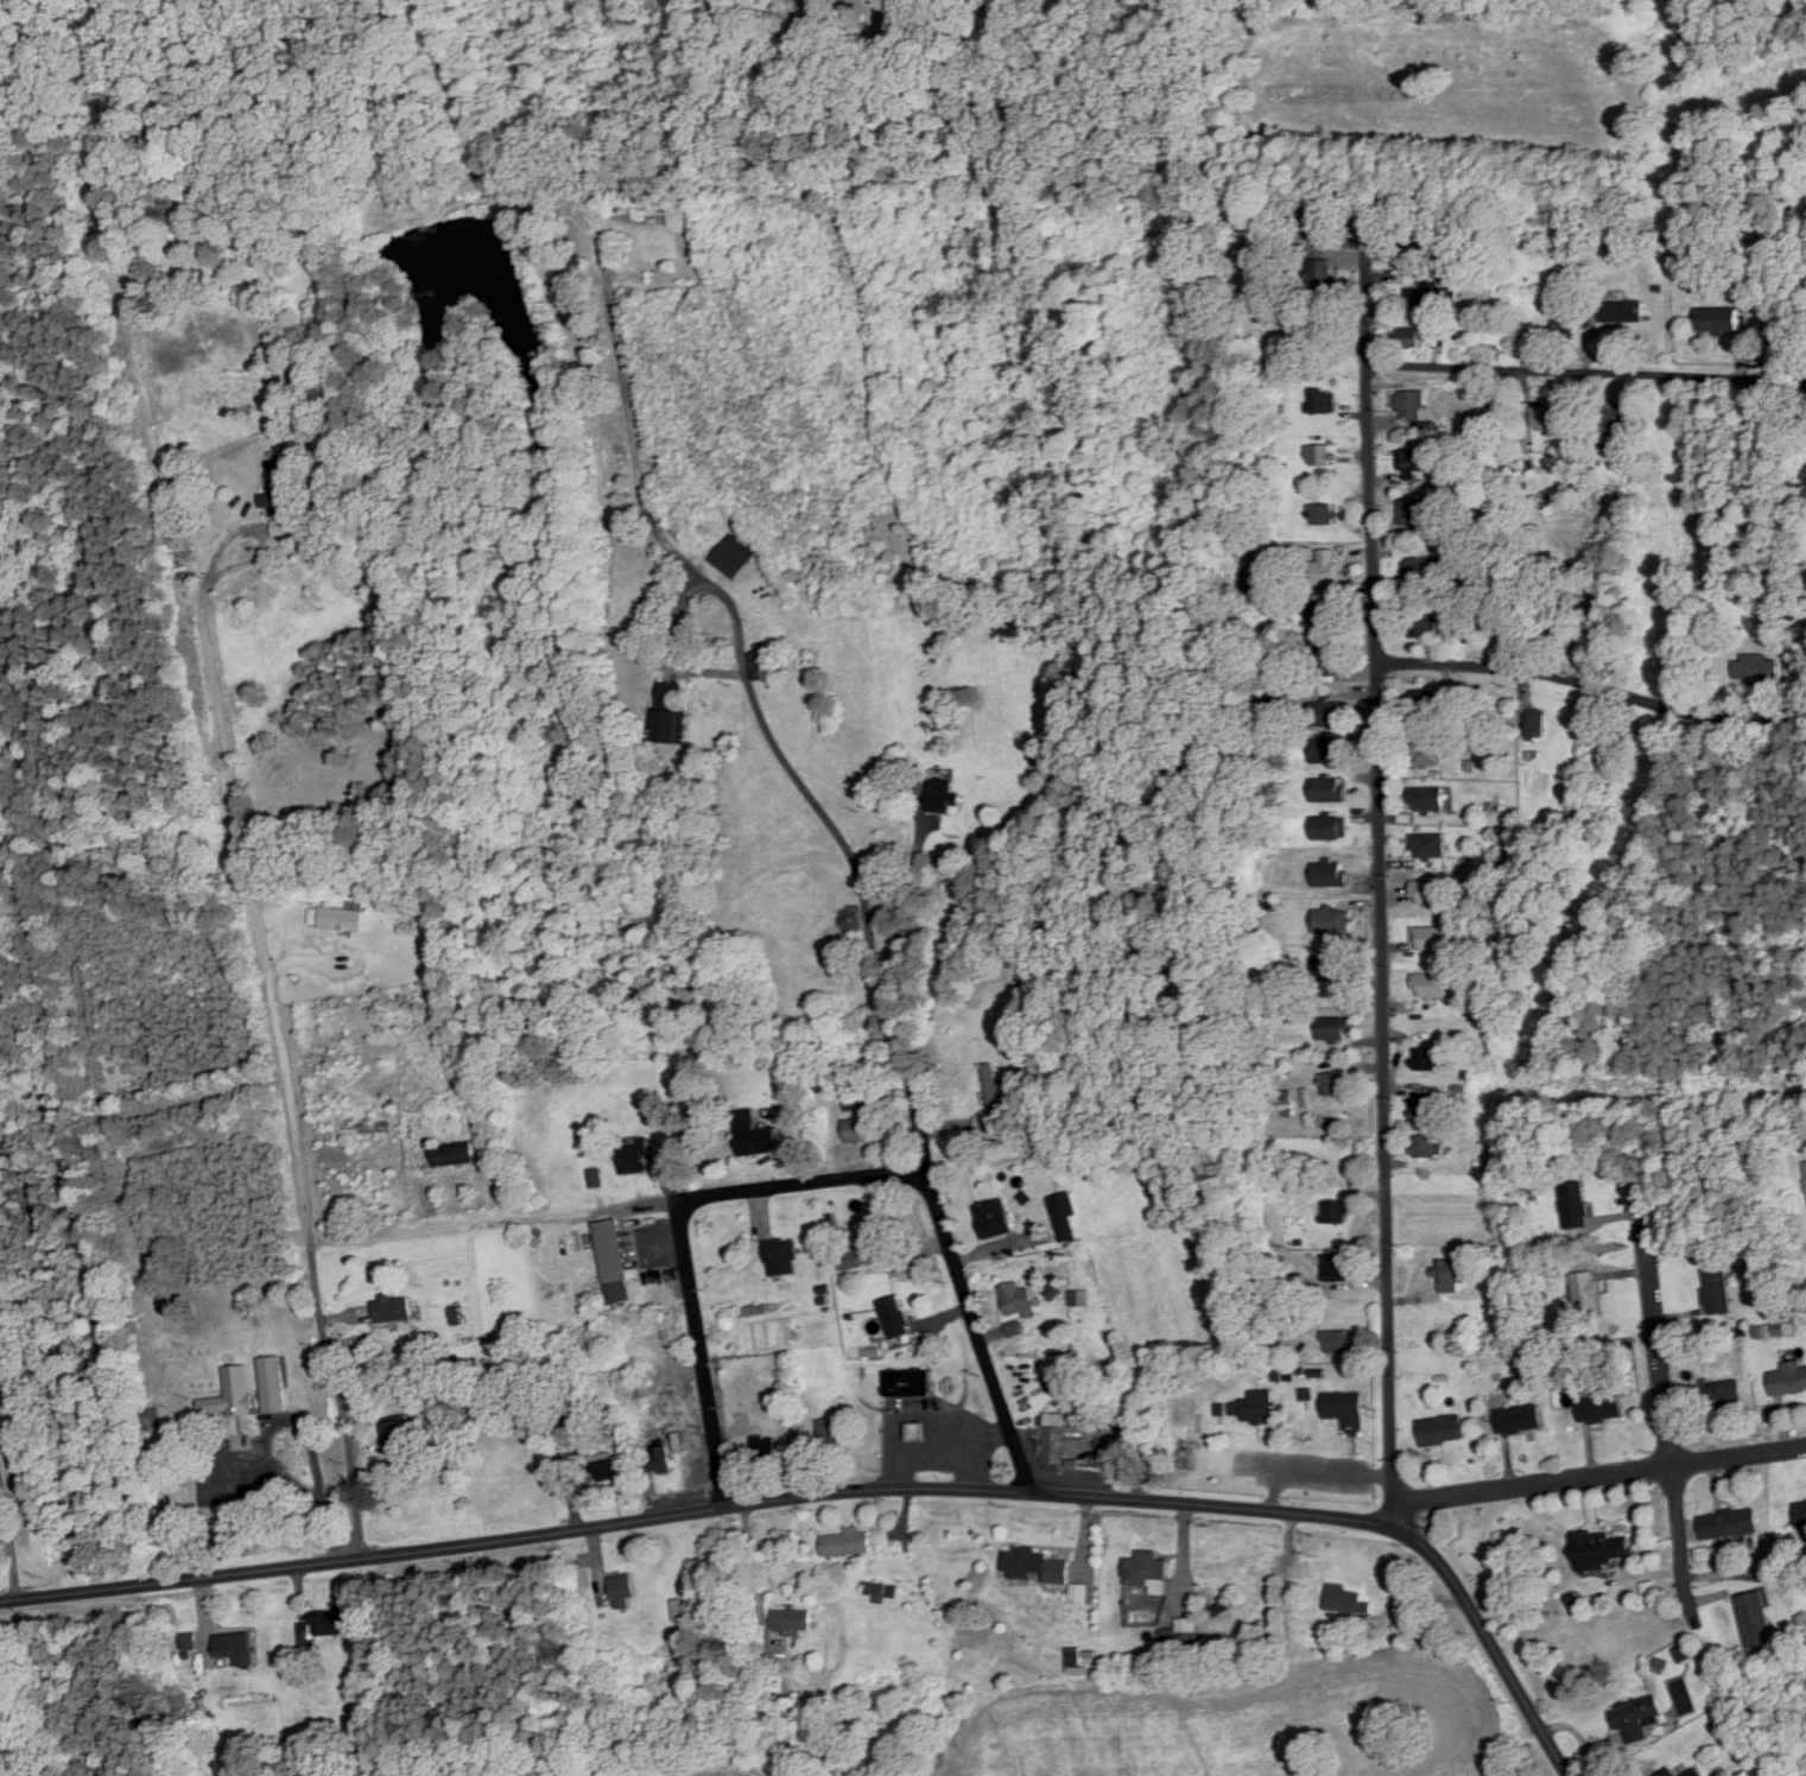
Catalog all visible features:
building: (634, 205)
building: (1316, 223)
building: (1418, 245)
building: (1319, 275)
building: (671, 278)
building: (1432, 296)
building: (1622, 311)
building: (1722, 319)
building: (1318, 325)
building: (1563, 328)
building: (1409, 337)
road: (1586, 369)
building: (1320, 401)
building: (1409, 402)
building: (1545, 418)
building: (1611, 420)
building: (317, 423)
building: (1319, 456)
building: (1415, 462)
building: (278, 494)
building: (1420, 512)
building: (1320, 514)
road: (216, 547)
building: (1243, 558)
building: (733, 559)
building: (1324, 567)
building: (1421, 567)
building: (1247, 582)
building: (1326, 614)
building: (1547, 622)
building: (1421, 626)
building: (1326, 654)
building: (767, 666)
building: (1756, 668)
road: (1583, 683)
building: (1422, 700)
building: (672, 712)
building: (1327, 713)
building: (1536, 725)
building: (1327, 750)
building: (1427, 754)
building: (1040, 757)
building: (1329, 789)
building: (944, 797)
building: (1428, 799)
building: (1329, 829)
road: (845, 846)
building: (1428, 846)
road: (1381, 870)
building: (1329, 875)
building: (1430, 893)
building: (342, 919)
road: (901, 919)
building: (1331, 921)
building: (1432, 939)
road: (261, 952)
building: (1331, 968)
building: (1432, 985)
building: (1333, 1029)
building: (1426, 1060)
building: (1335, 1084)
building: (991, 1086)
building: (1426, 1103)
building: (369, 1128)
building: (862, 1130)
building: (755, 1136)
building: (1428, 1147)
building: (451, 1154)
building: (634, 1159)
road: (762, 1186)
building: (1574, 1205)
building: (1335, 1212)
building: (1065, 1216)
building: (994, 1219)
road: (455, 1225)
building: (875, 1232)
building: (781, 1256)
building: (851, 1261)
building: (614, 1262)
building: (1336, 1267)
building: (1452, 1275)
building: (1717, 1290)
building: (1585, 1295)
building: (1018, 1299)
building: (385, 1309)
building: (894, 1317)
building: (1338, 1340)
road: (702, 1351)
road: (1661, 1378)
building: (1789, 1379)
building: (908, 1382)
building: (273, 1383)
building: (230, 1394)
building: (1722, 1394)
road: (336, 1398)
building: (691, 1404)
building: (1260, 1407)
building: (1602, 1408)
building: (1346, 1409)
building: (1520, 1419)
road: (302, 1425)
building: (1443, 1431)
building: (831, 1436)
building: (399, 1440)
building: (689, 1440)
building: (1057, 1441)
building: (766, 1450)
building: (659, 1459)
building: (608, 1470)
road: (1601, 1473)
road: (849, 1490)
building: (1801, 1515)
building: (1730, 1524)
road: (11, 1539)
building: (849, 1543)
building: (1601, 1549)
road: (750, 1560)
building: (1037, 1566)
building: (1147, 1571)
building: (623, 1591)
building: (1346, 1601)
building: (680, 1611)
building: (792, 1618)
building: (334, 1619)
building: (1756, 1619)
building: (189, 1641)
building: (236, 1647)
building: (1636, 1717)
building: (1669, 1772)
building: (1694, 1772)

